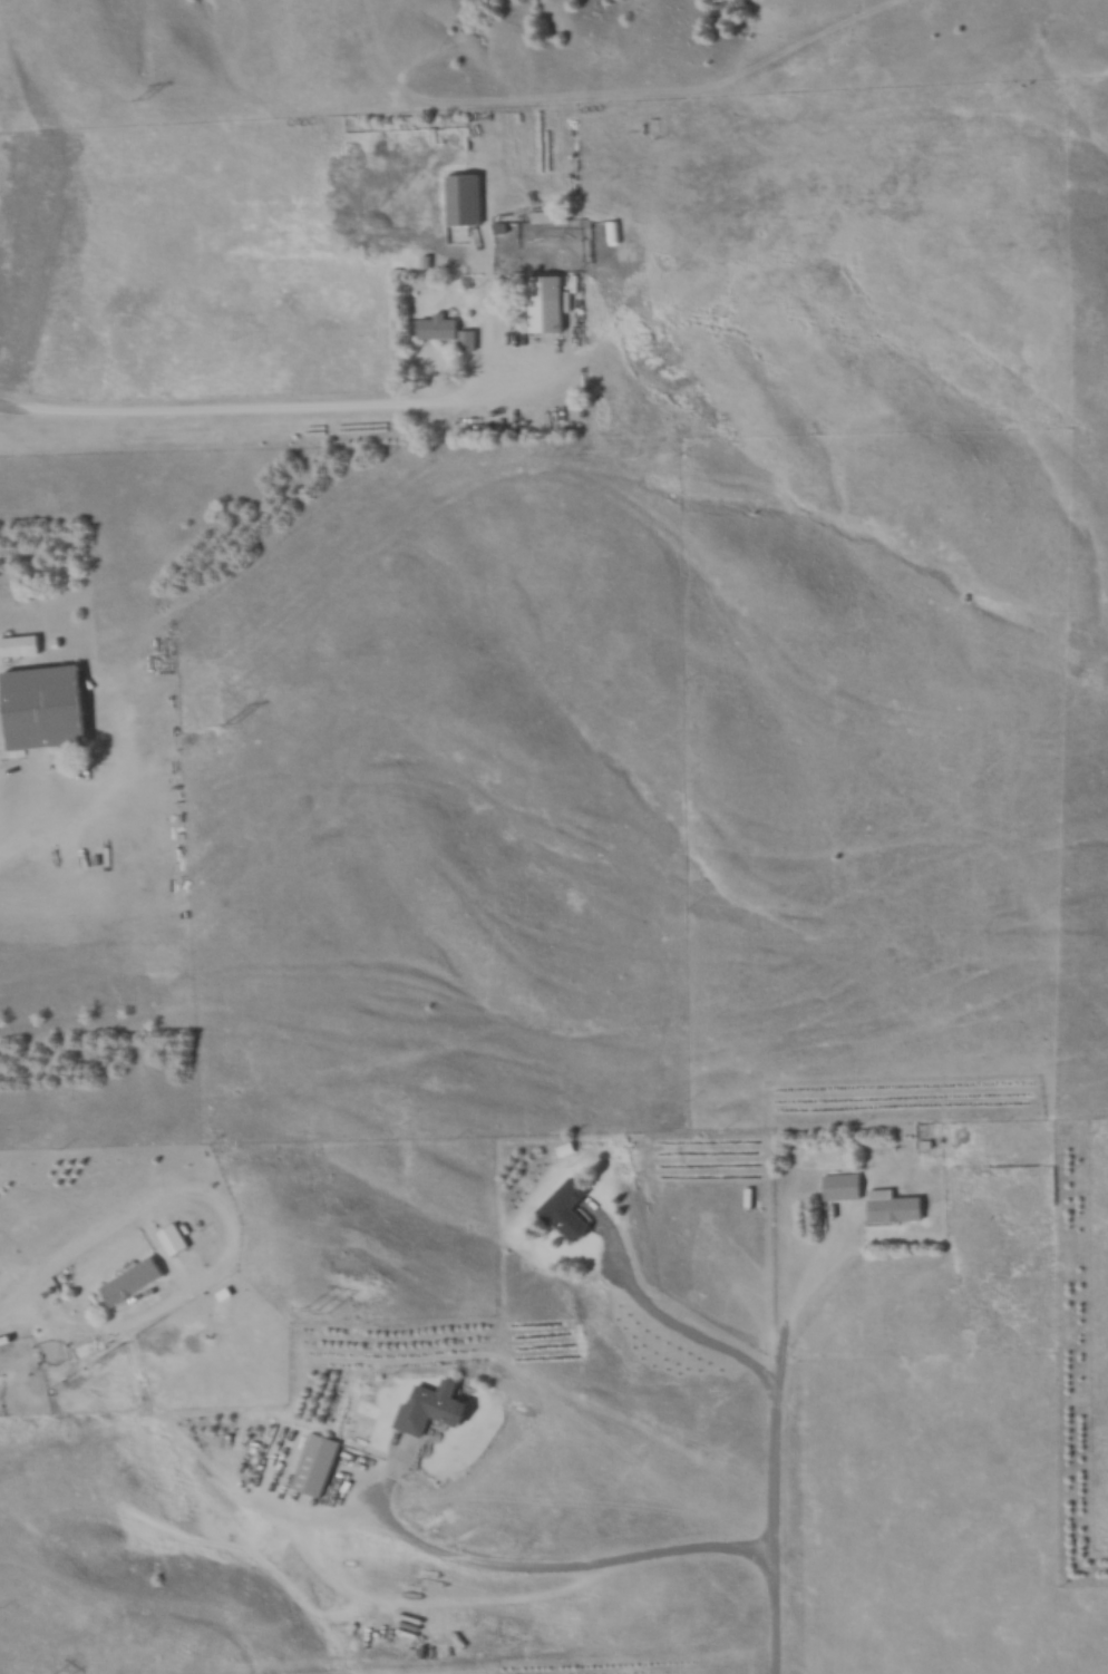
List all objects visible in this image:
power tower: (147, 97)
building: (548, 216)
building: (550, 303)
building: (443, 327)
road: (269, 412)
building: (22, 644)
building: (49, 705)
power tower: (235, 722)
road: (21, 805)
building: (846, 1186)
building: (897, 1206)
building: (571, 1211)
building: (178, 1240)
road: (88, 1247)
building: (136, 1282)
road: (798, 1303)
power tower: (320, 1314)
road: (775, 1396)
building: (434, 1407)
building: (320, 1463)
road: (544, 1567)

